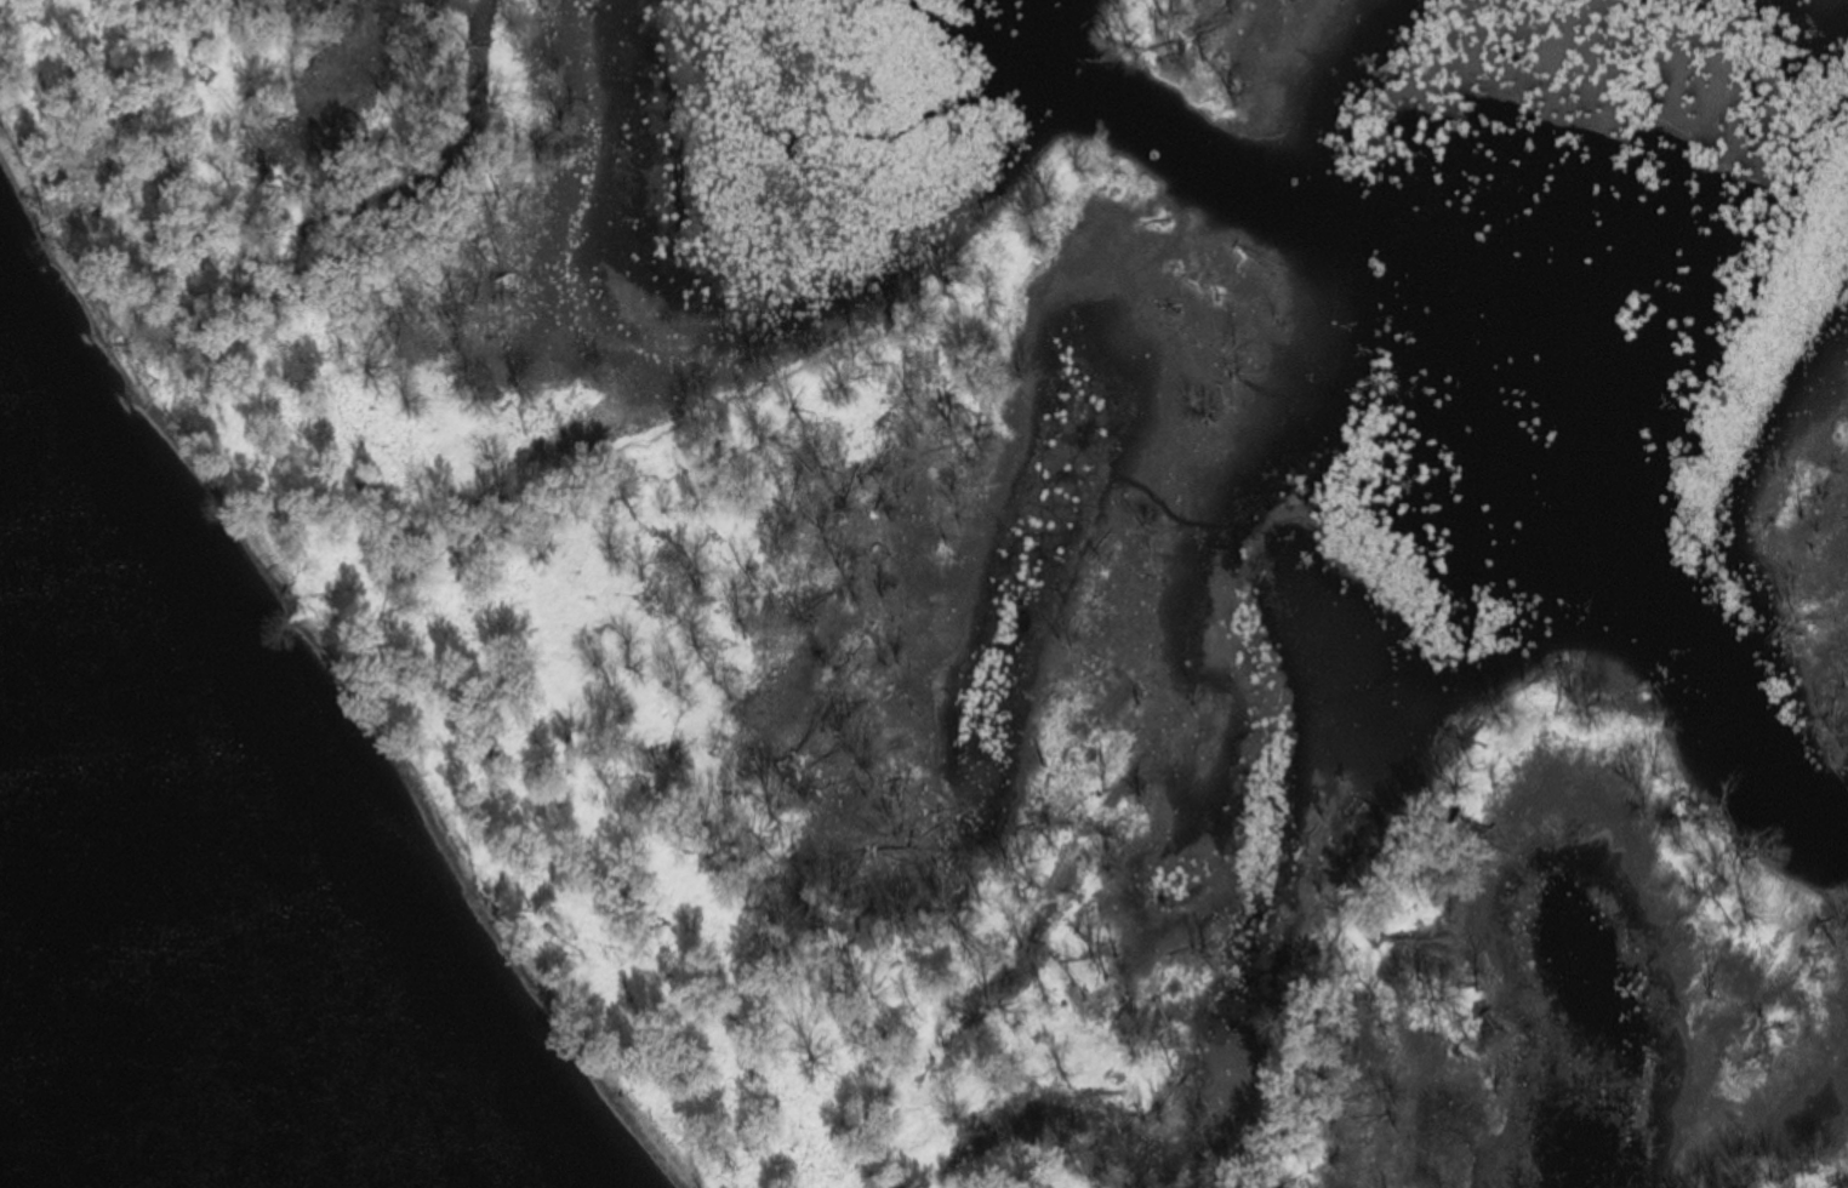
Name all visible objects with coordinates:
river: (69, 1081)

